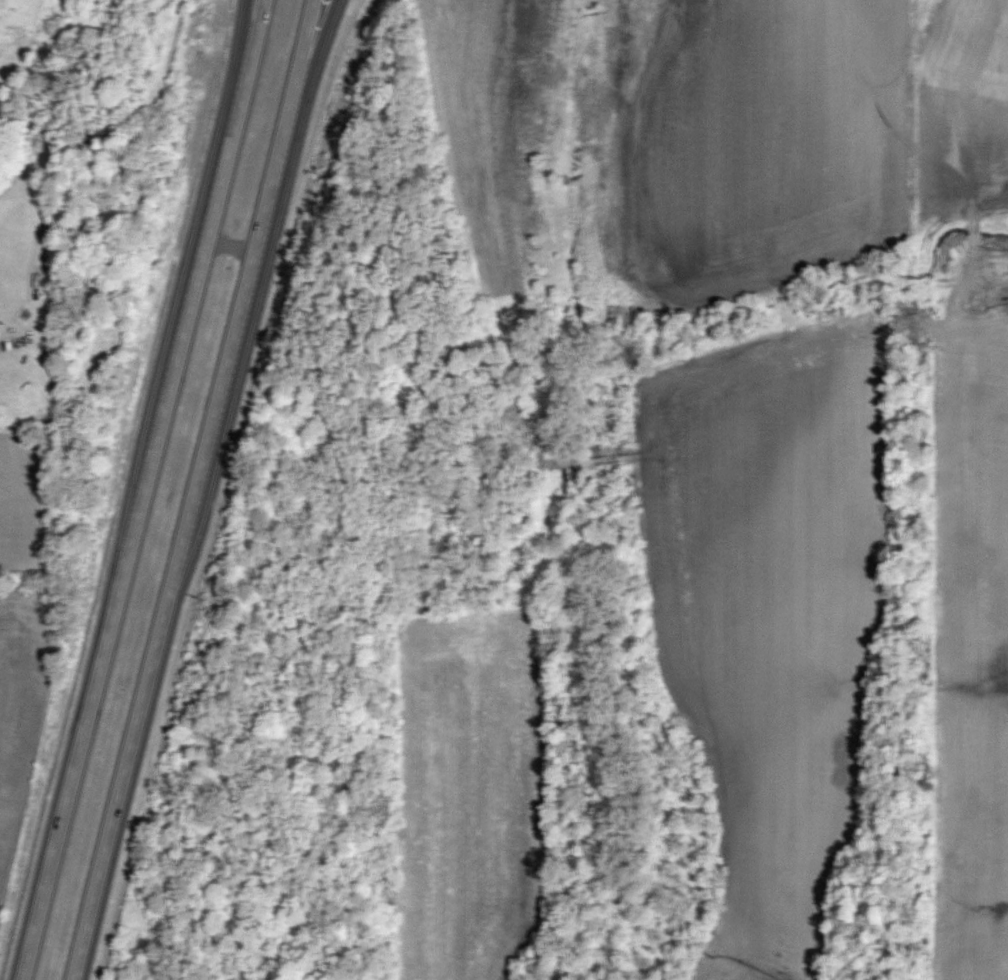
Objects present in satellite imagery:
road: (238, 40)
road: (312, 49)
road: (229, 228)
road: (189, 489)
road: (139, 490)

